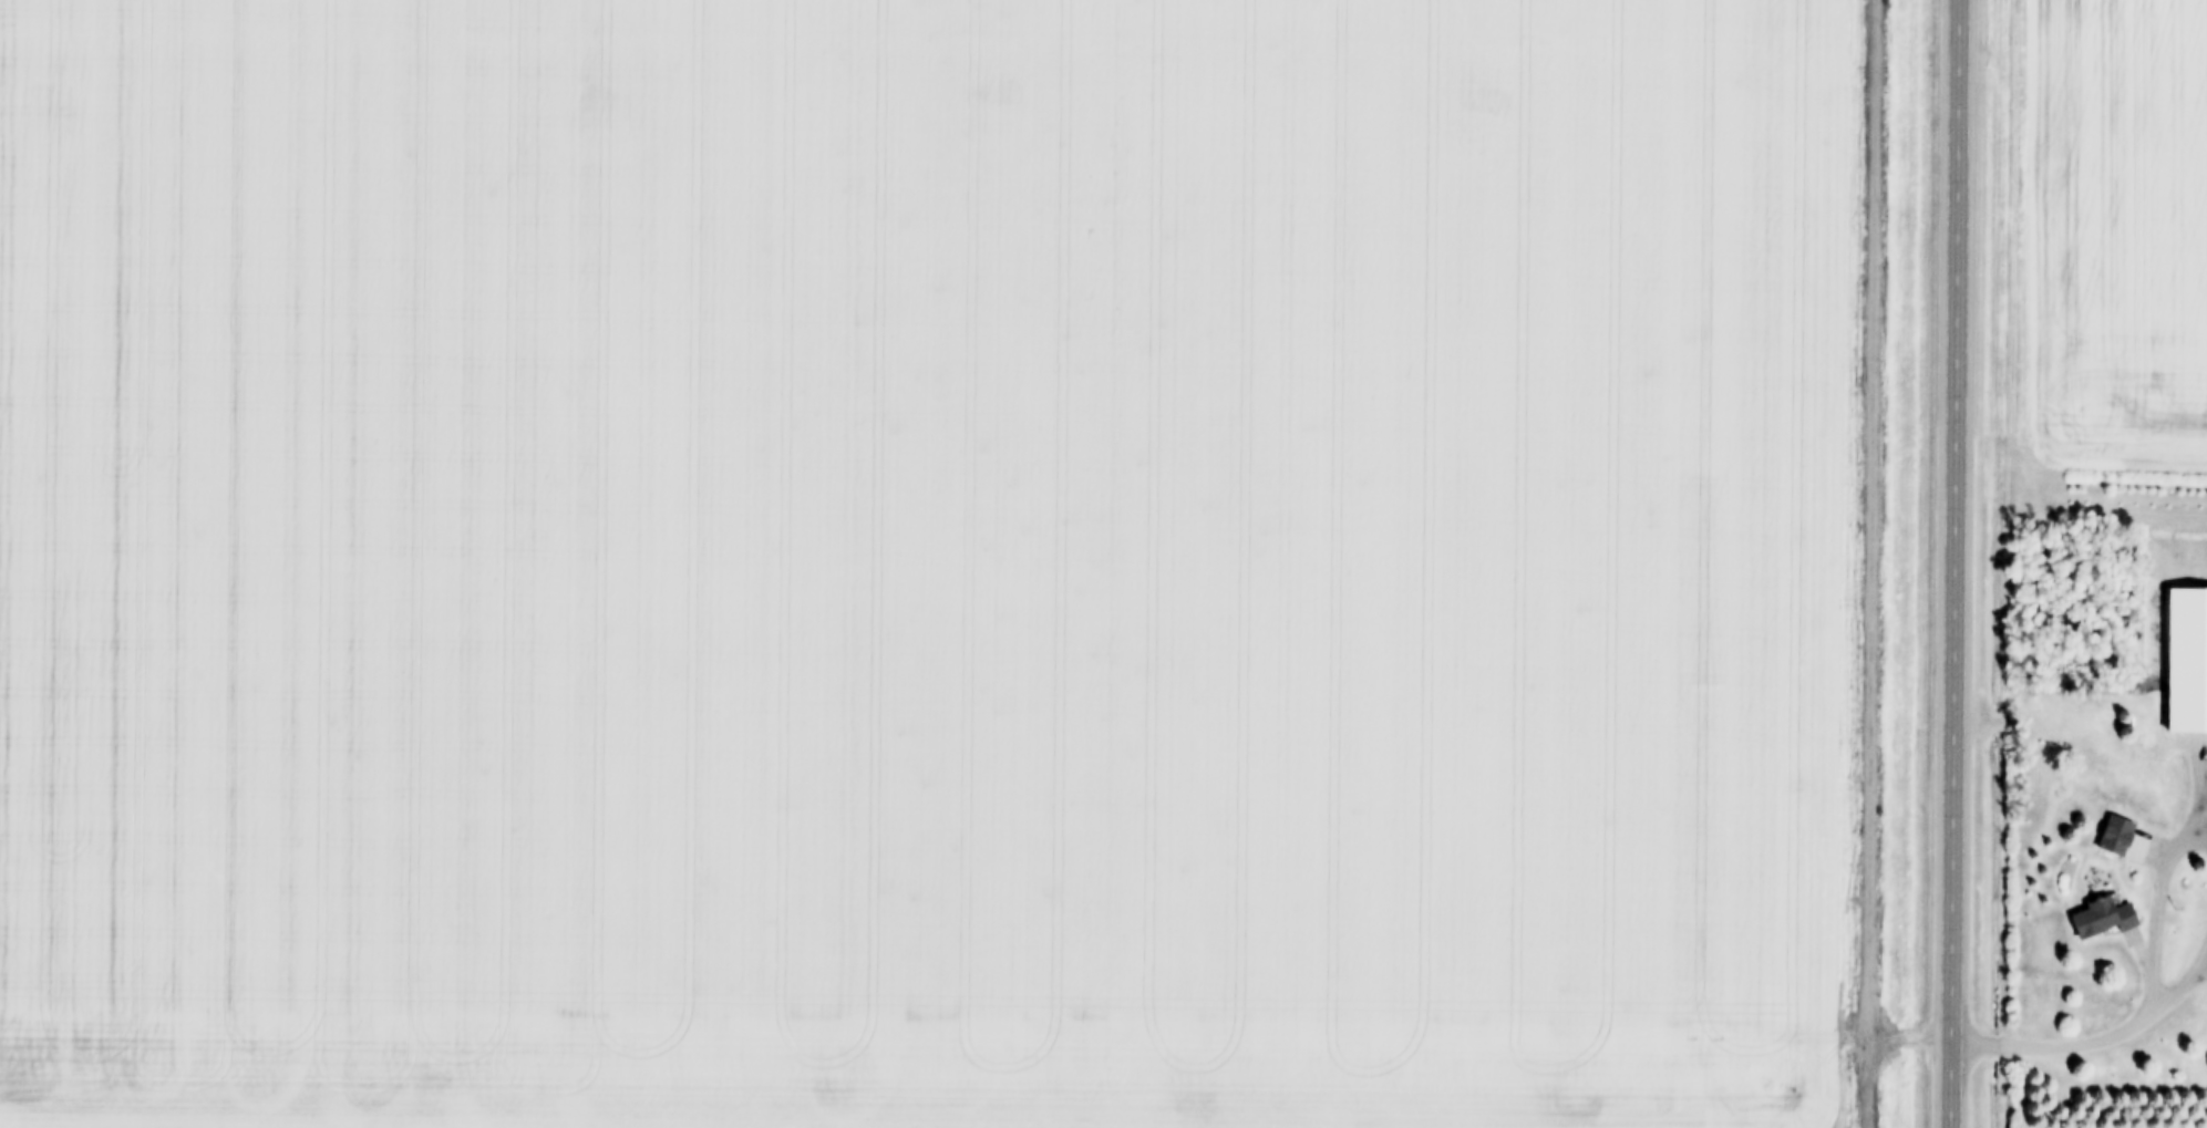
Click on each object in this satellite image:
railway: (1867, 563)
road: (1951, 563)
building: (2185, 661)
building: (2098, 917)
road: (1879, 1036)

